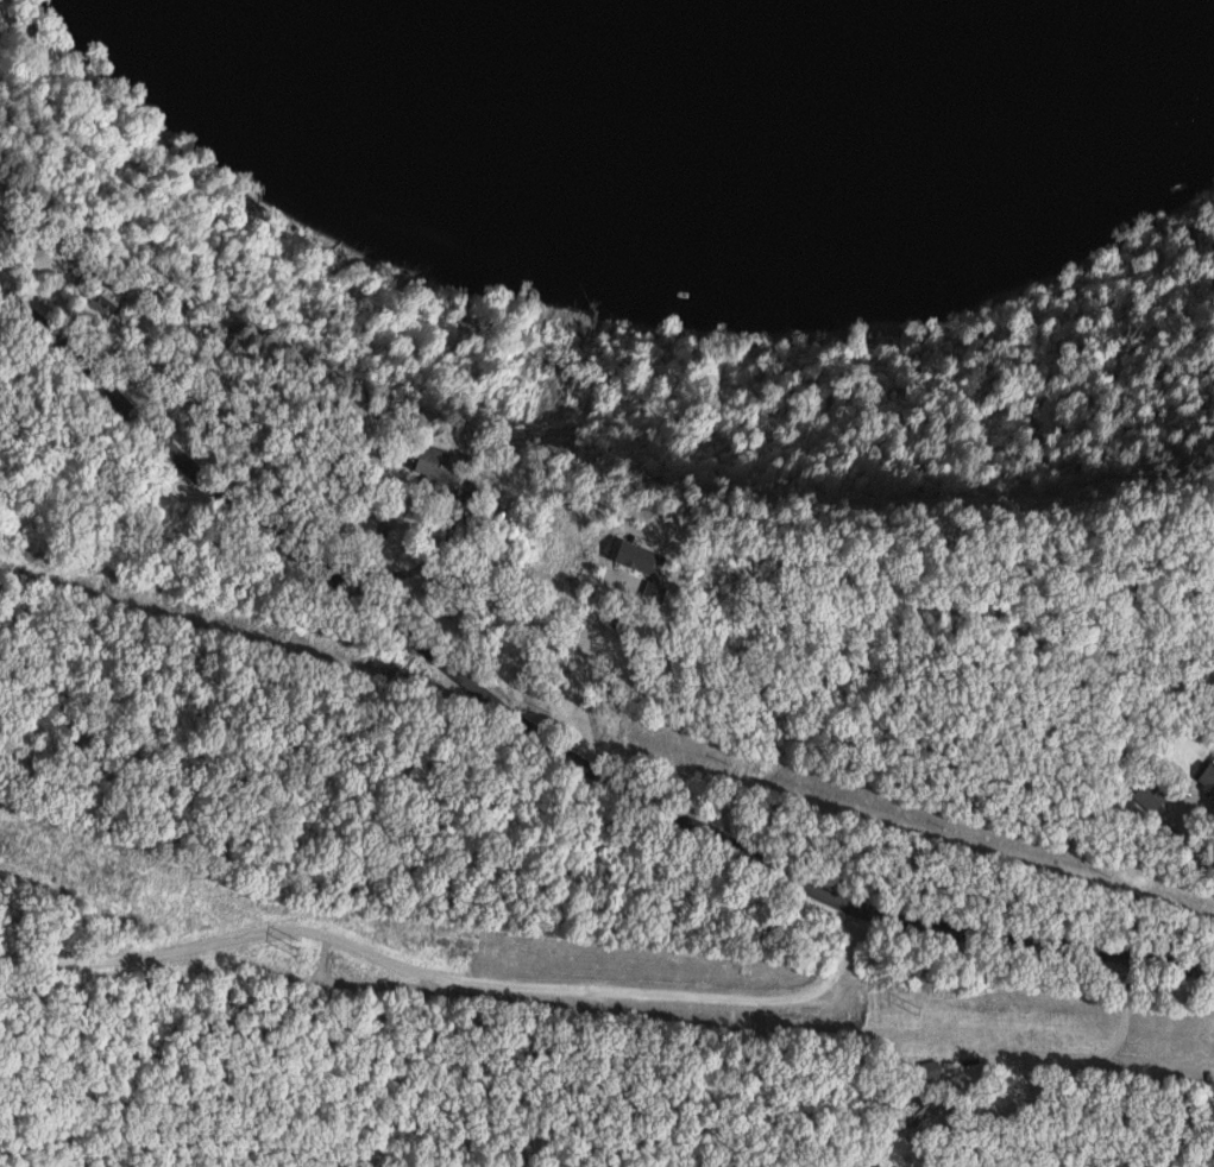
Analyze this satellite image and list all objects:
building: (436, 461)
road: (426, 551)
building: (644, 561)
road: (549, 744)
road: (1212, 807)
power tower: (303, 948)
road: (453, 979)
power tower: (919, 1008)
road: (1095, 1053)

